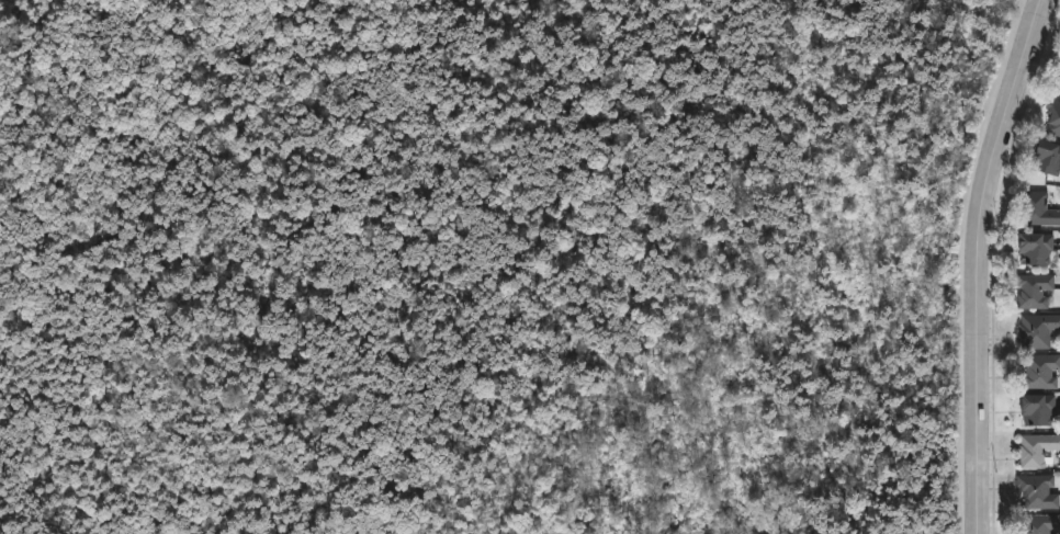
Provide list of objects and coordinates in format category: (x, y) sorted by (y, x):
building: (1058, 84)
building: (1055, 115)
building: (1048, 155)
building: (1040, 208)
building: (1039, 248)
road: (972, 262)
building: (1035, 289)
building: (1038, 330)
building: (1042, 371)
building: (1040, 410)
building: (1037, 450)
building: (1038, 492)
building: (1040, 524)

